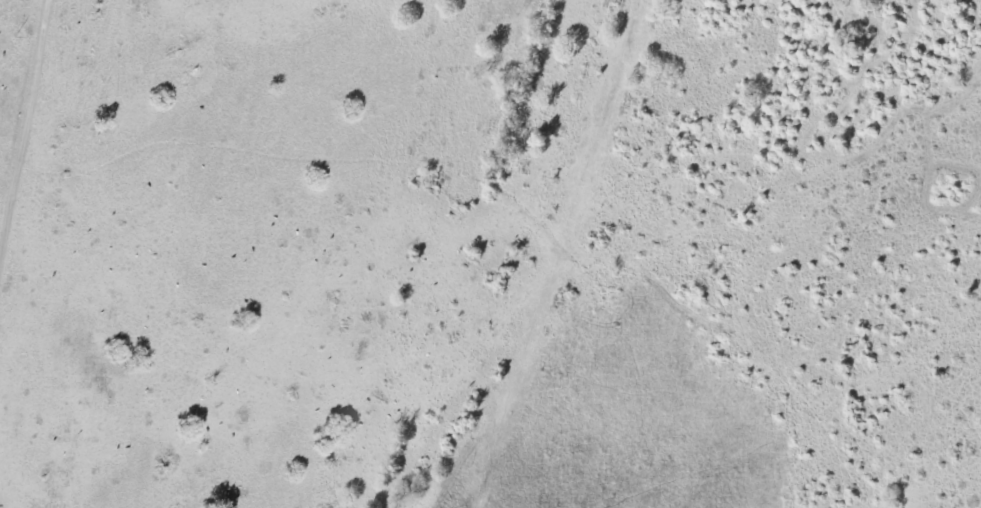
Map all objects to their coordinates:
road: (27, 147)

